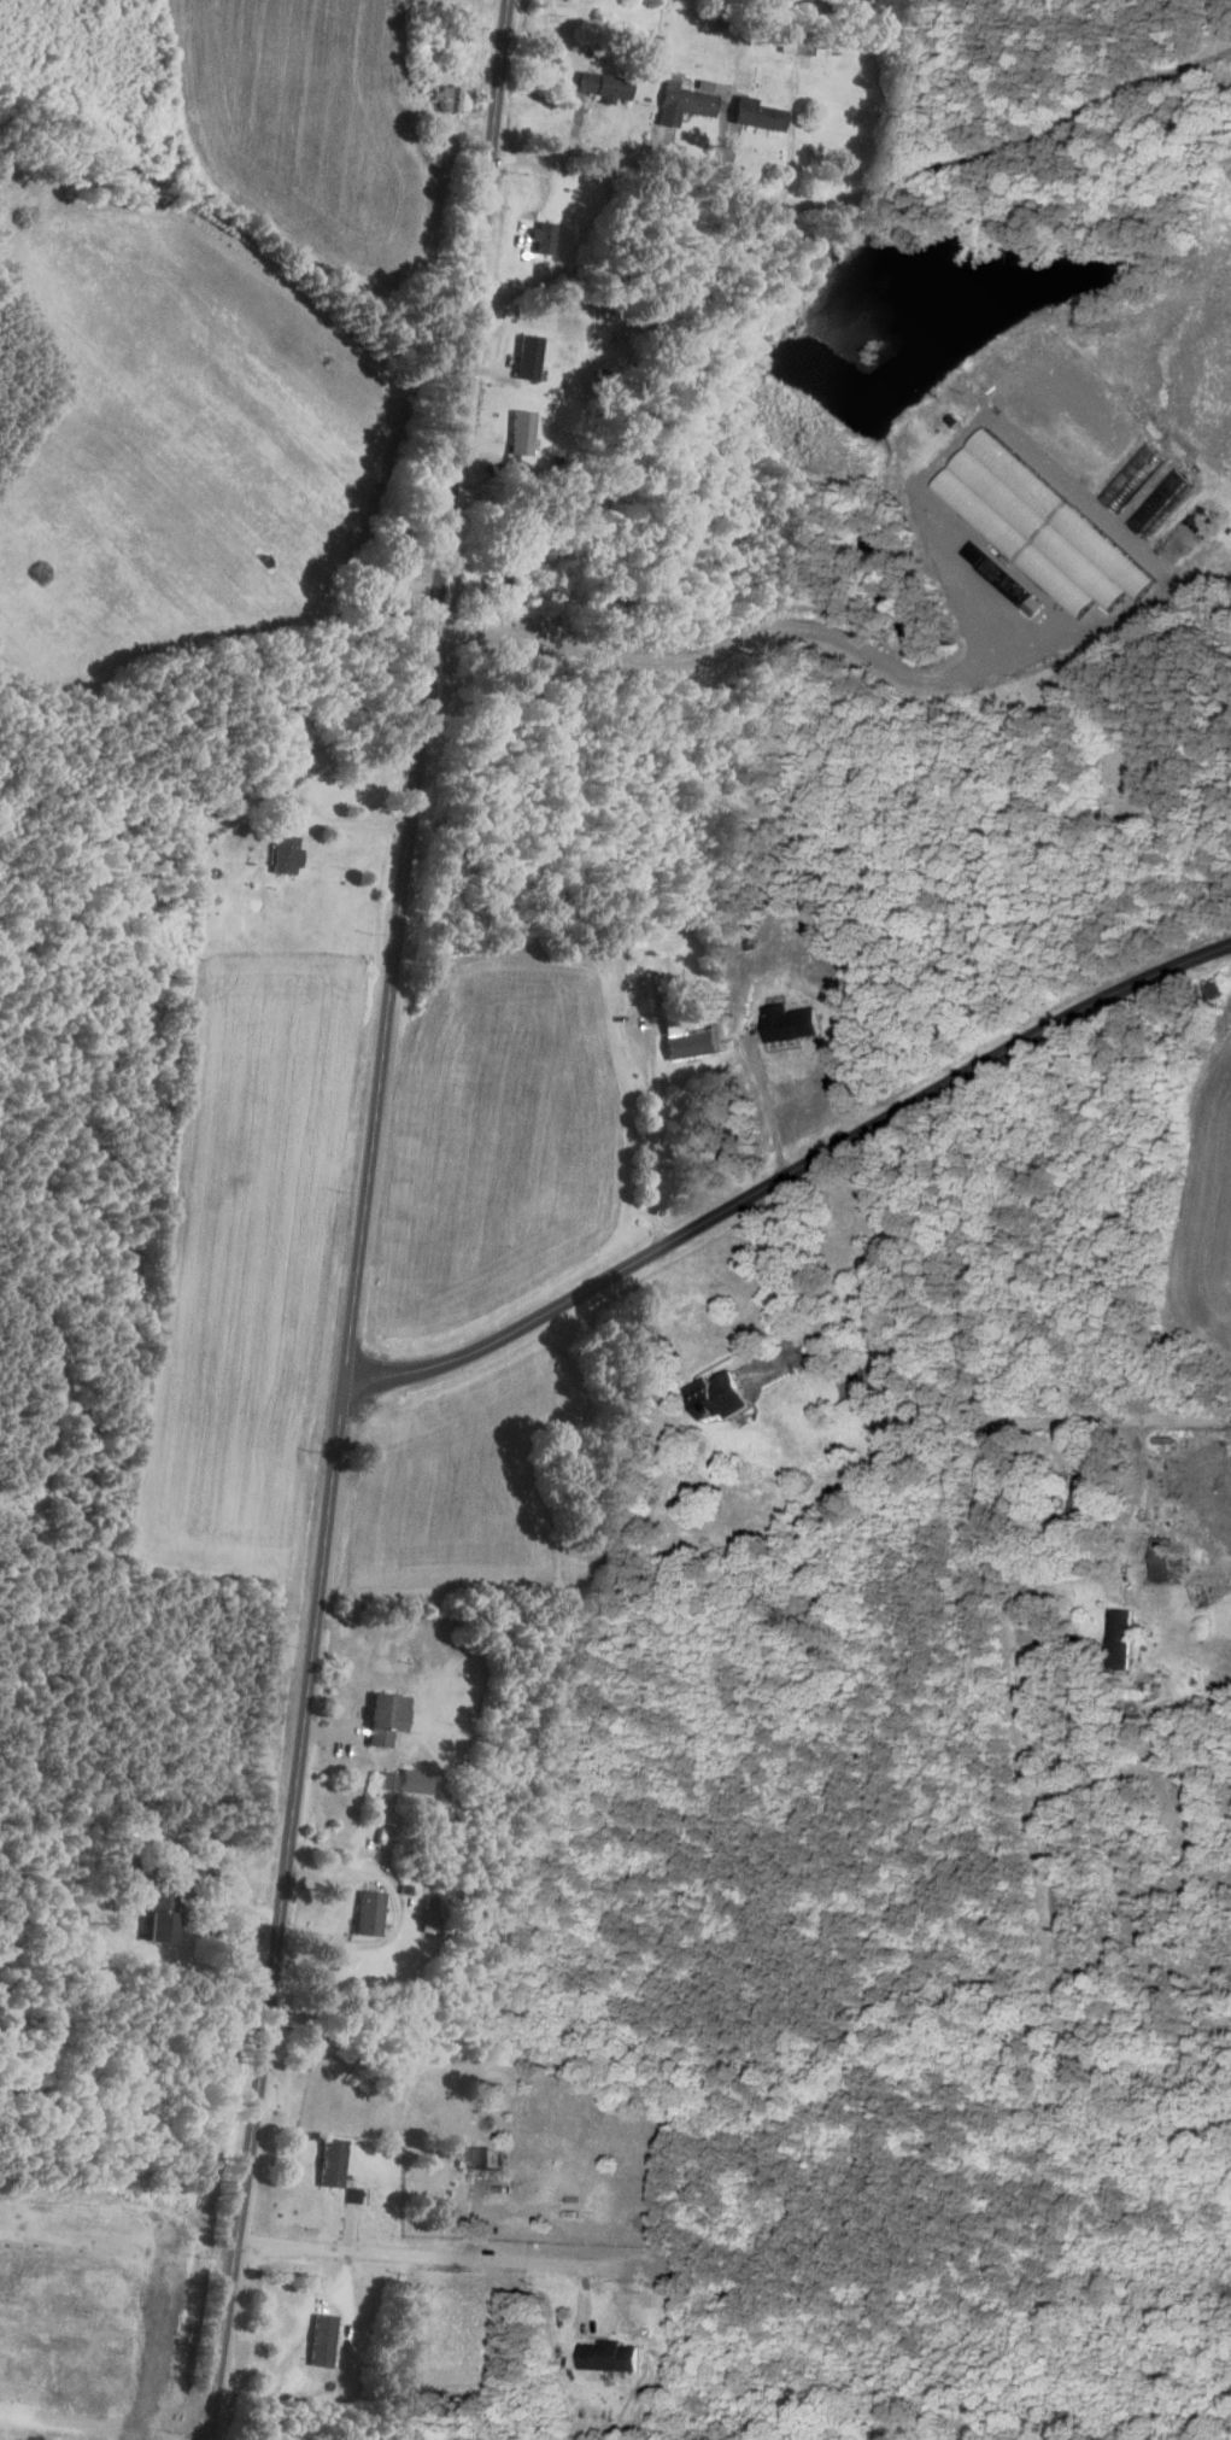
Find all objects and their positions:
road: (1209, 30)
building: (795, 41)
building: (603, 84)
building: (680, 101)
building: (757, 113)
road: (1033, 130)
road: (662, 182)
building: (543, 236)
building: (527, 356)
building: (521, 432)
building: (1162, 502)
building: (1042, 527)
building: (286, 853)
building: (791, 1022)
building: (691, 1041)
road: (764, 1102)
road: (646, 1134)
road: (779, 1172)
road: (364, 1221)
road: (773, 1289)
building: (720, 1394)
road: (1110, 1417)
road: (996, 1473)
building: (1167, 1557)
building: (1121, 1637)
building: (387, 1716)
building: (386, 1779)
building: (415, 1780)
building: (134, 1868)
building: (369, 1912)
road: (397, 1912)
building: (162, 1917)
building: (332, 2161)
road: (550, 2265)
building: (322, 2340)
building: (611, 2356)

